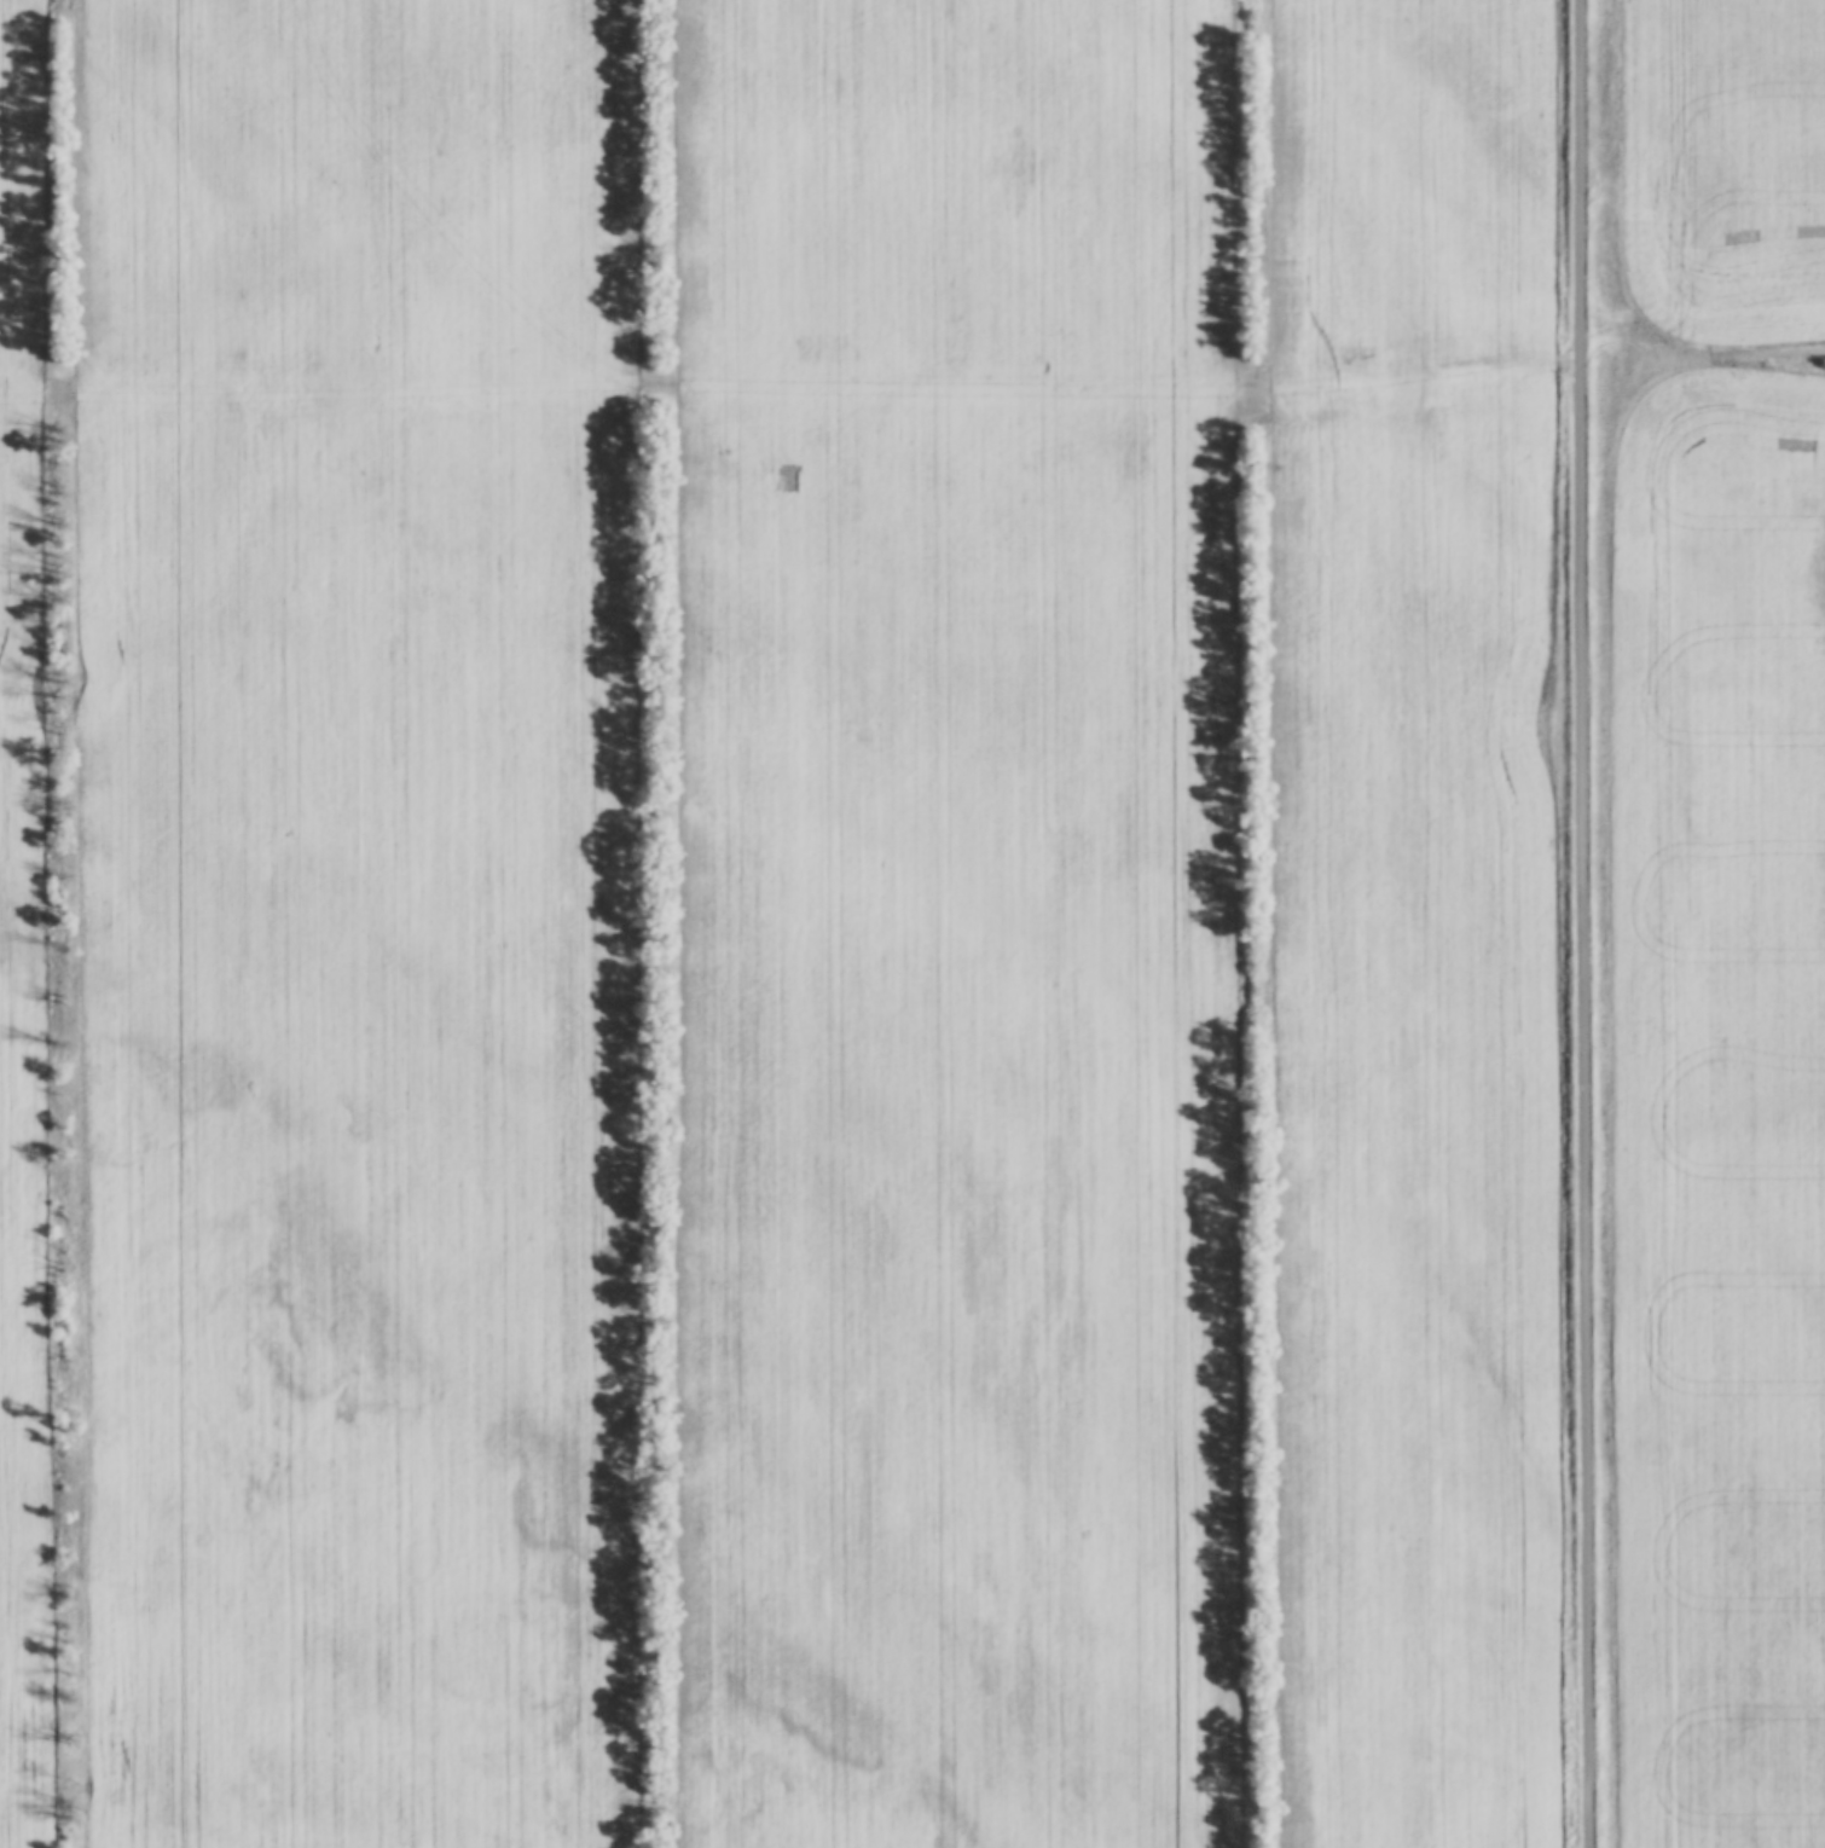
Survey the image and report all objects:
road: (1580, 923)

